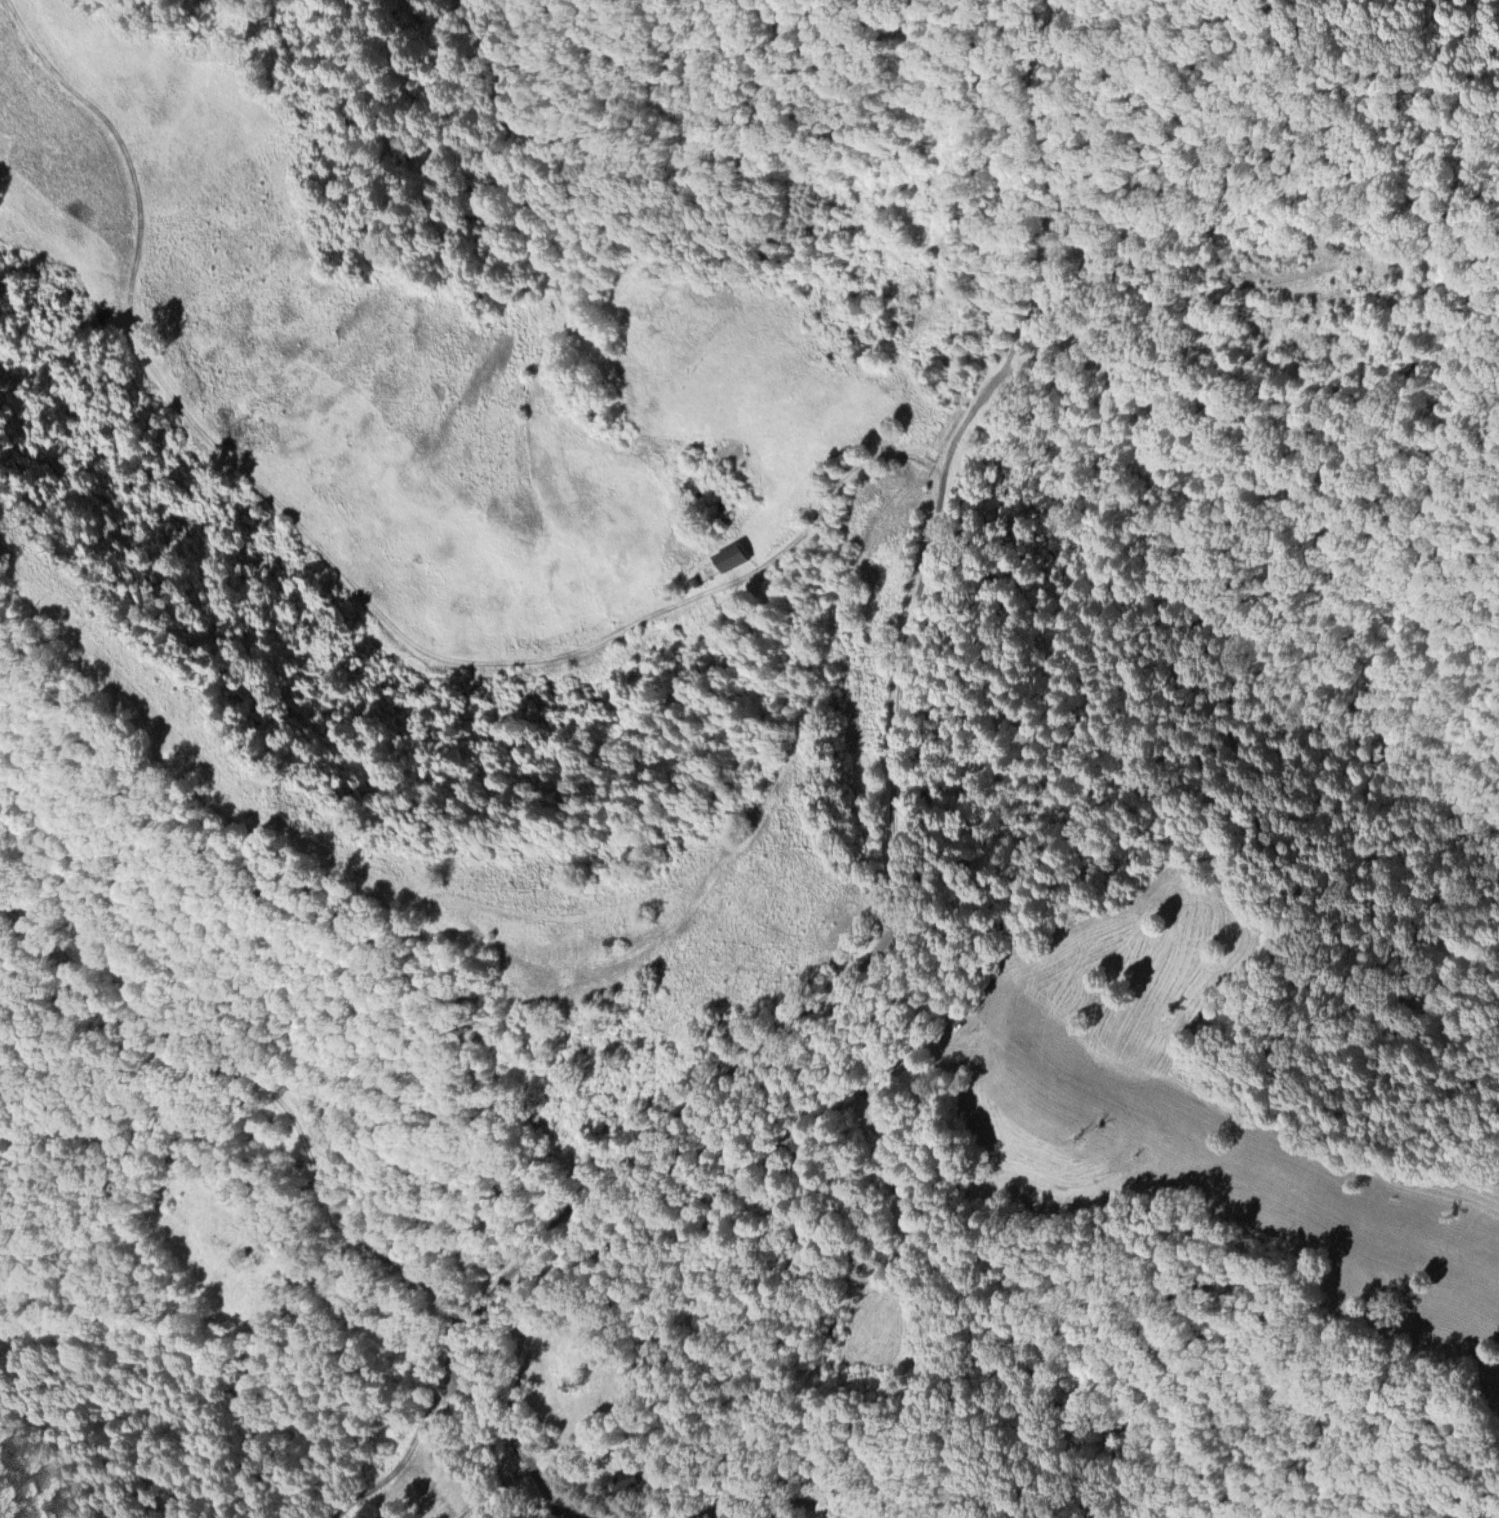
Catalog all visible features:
road: (948, 178)
road: (1161, 301)
building: (730, 555)
road: (349, 572)
road: (893, 807)
road: (270, 1086)
road: (735, 1179)
road: (893, 1180)
road: (364, 1328)
park: (562, 1371)
road: (408, 1456)
building: (622, 1478)
road: (540, 1481)
road: (495, 1489)
road: (761, 1494)

